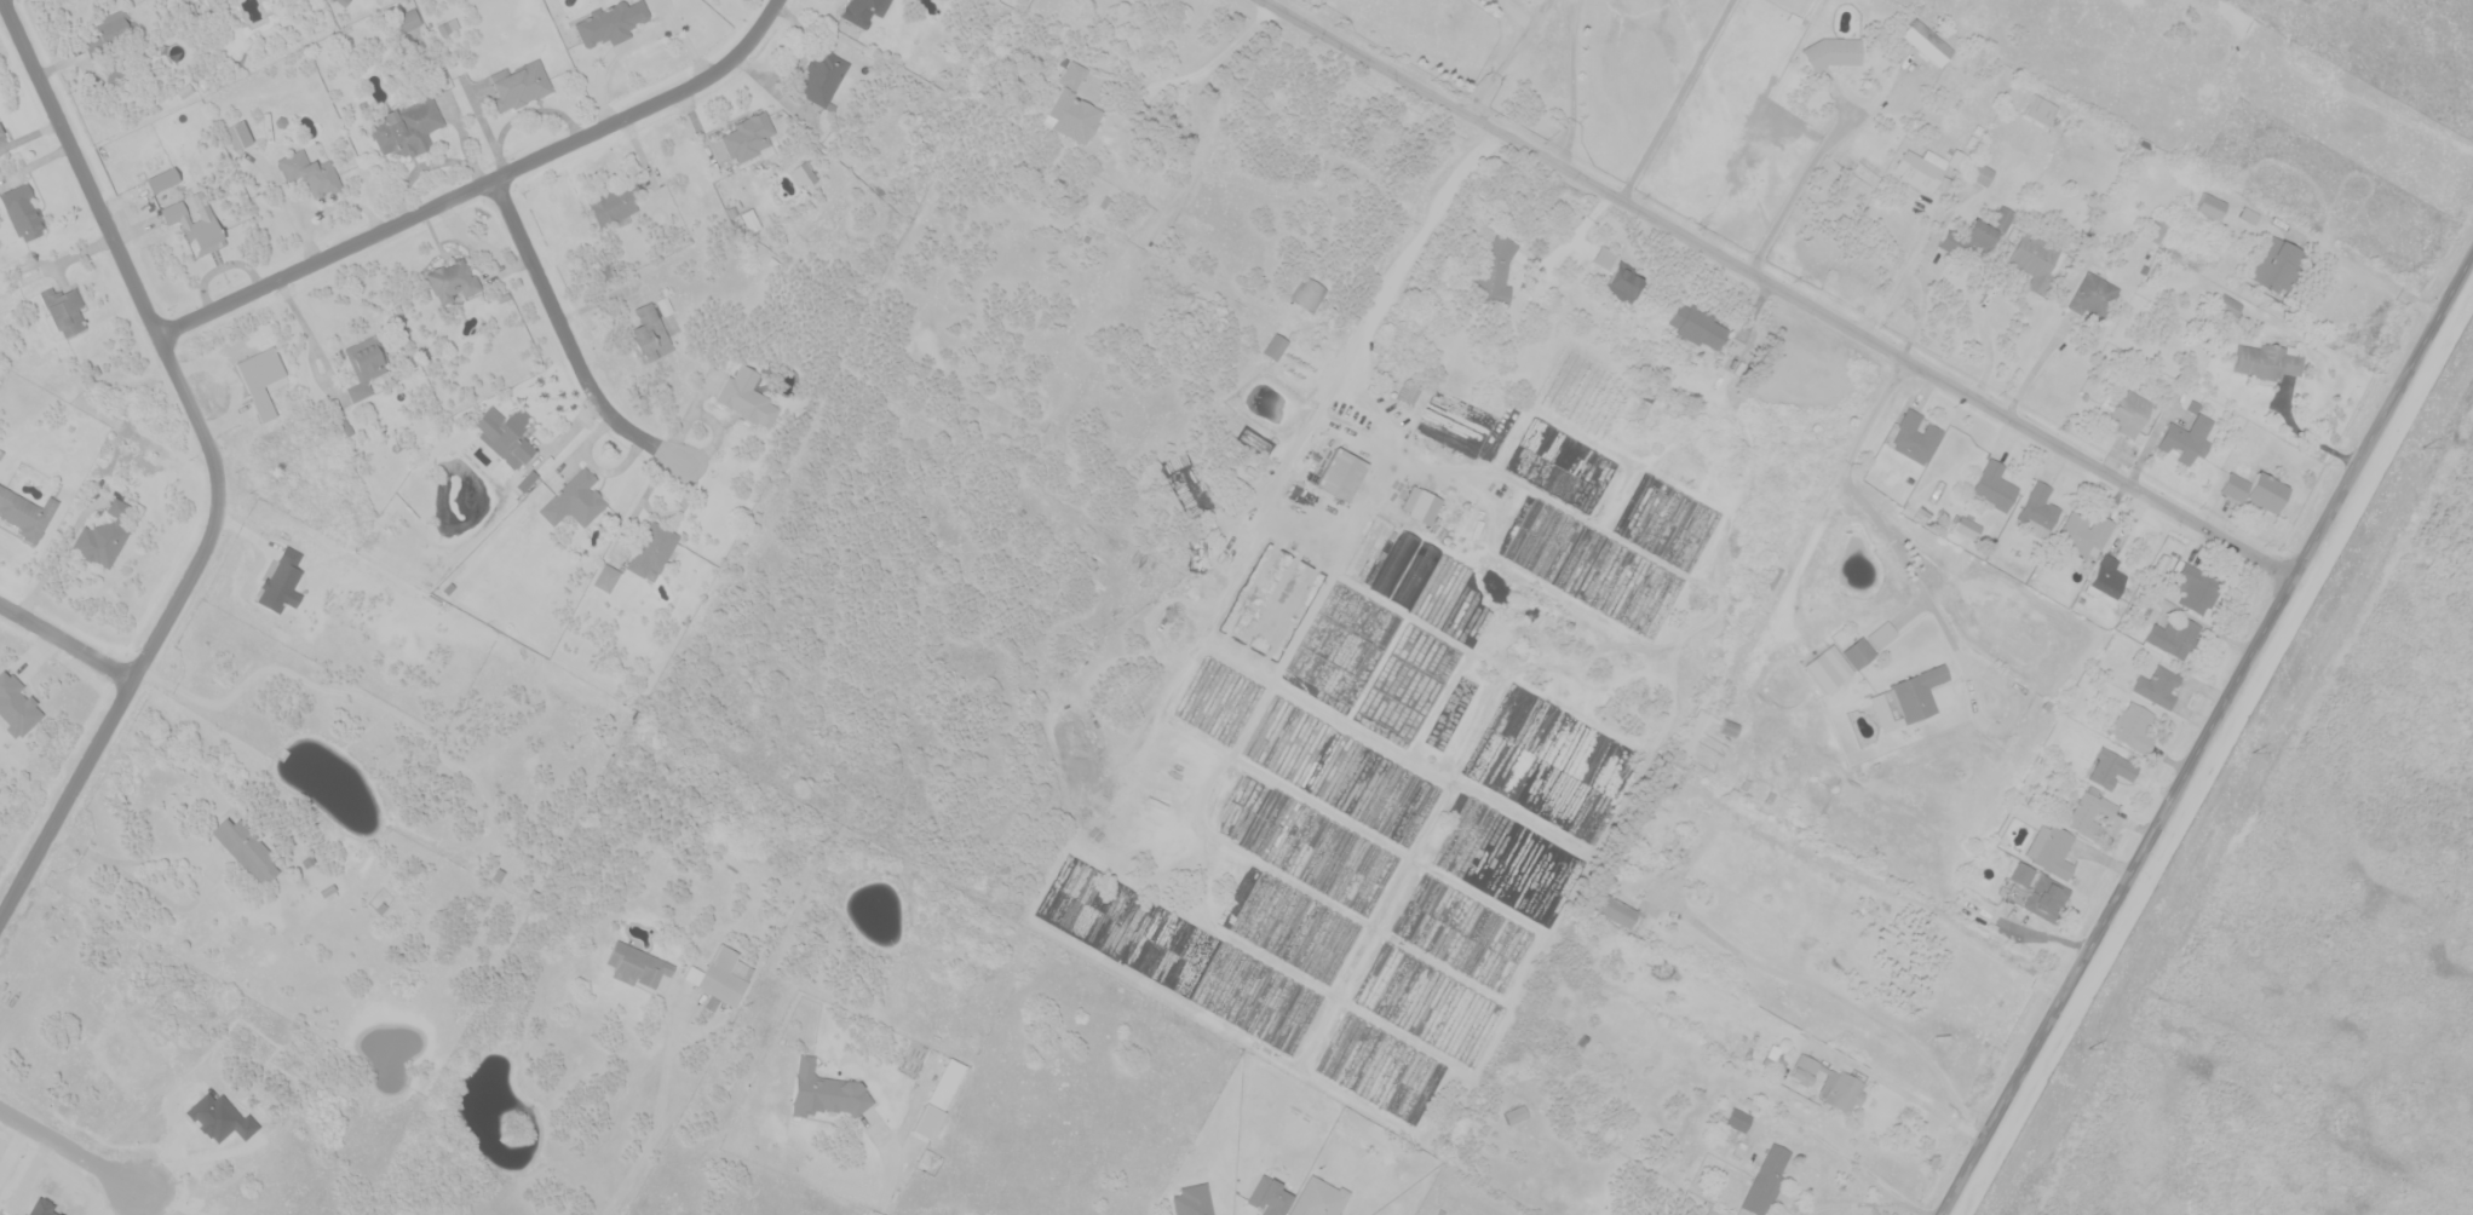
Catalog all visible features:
building: (343, 2)
building: (863, 11)
building: (407, 21)
building: (609, 22)
building: (447, 27)
building: (1927, 42)
building: (117, 45)
building: (1834, 52)
road: (1508, 58)
building: (823, 75)
road: (1574, 84)
building: (521, 86)
building: (1817, 98)
road: (1678, 100)
building: (1074, 108)
building: (2040, 110)
building: (407, 127)
building: (238, 134)
building: (2, 136)
building: (749, 138)
building: (1955, 159)
building: (1919, 168)
building: (311, 173)
building: (1980, 173)
building: (806, 174)
building: (162, 179)
road: (1804, 179)
road: (481, 183)
building: (1942, 184)
building: (615, 200)
building: (2210, 207)
building: (24, 212)
building: (750, 220)
building: (195, 226)
building: (2156, 229)
building: (1986, 232)
building: (1604, 258)
building: (2035, 260)
building: (2276, 266)
road: (1902, 271)
road: (2363, 271)
building: (1494, 273)
building: (454, 278)
building: (1623, 284)
road: (1776, 287)
building: (1310, 294)
building: (2092, 295)
road: (1927, 299)
building: (2228, 305)
building: (65, 310)
building: (1697, 326)
building: (649, 334)
road: (565, 336)
road: (314, 339)
building: (1275, 346)
road: (1991, 346)
building: (2265, 359)
road: (329, 363)
building: (364, 364)
road: (2037, 368)
building: (1408, 393)
building: (748, 397)
building: (2129, 414)
road: (2301, 432)
building: (506, 434)
building: (2187, 436)
building: (1916, 437)
road: (213, 462)
building: (1340, 473)
building: (1995, 485)
building: (2254, 490)
building: (575, 500)
building: (1424, 507)
building: (2037, 511)
building: (25, 513)
building: (738, 520)
building: (1966, 526)
building: (2084, 535)
building: (103, 537)
building: (652, 551)
road: (53, 564)
building: (1410, 566)
building: (606, 577)
building: (2105, 578)
building: (2195, 587)
building: (1880, 634)
building: (2174, 637)
road: (64, 640)
building: (1345, 643)
building: (1859, 652)
building: (1827, 668)
building: (1410, 680)
building: (2159, 686)
building: (1914, 693)
building: (18, 703)
building: (1727, 727)
building: (2132, 727)
road: (2205, 732)
building: (1691, 737)
building: (2110, 768)
building: (1662, 805)
building: (2090, 814)
building: (246, 850)
building: (2051, 850)
building: (2035, 892)
road: (185, 906)
building: (1617, 910)
airport: (2305, 911)
building: (637, 964)
building: (720, 978)
building: (1463, 1019)
building: (1777, 1058)
building: (945, 1083)
building: (1828, 1083)
building: (826, 1093)
building: (1516, 1113)
building: (1738, 1119)
road: (70, 1147)
road: (201, 1158)
building: (1278, 1161)
road: (887, 1174)
building: (1767, 1181)
building: (1267, 1196)
building: (1316, 1198)
road: (151, 1200)
building: (1191, 1200)

